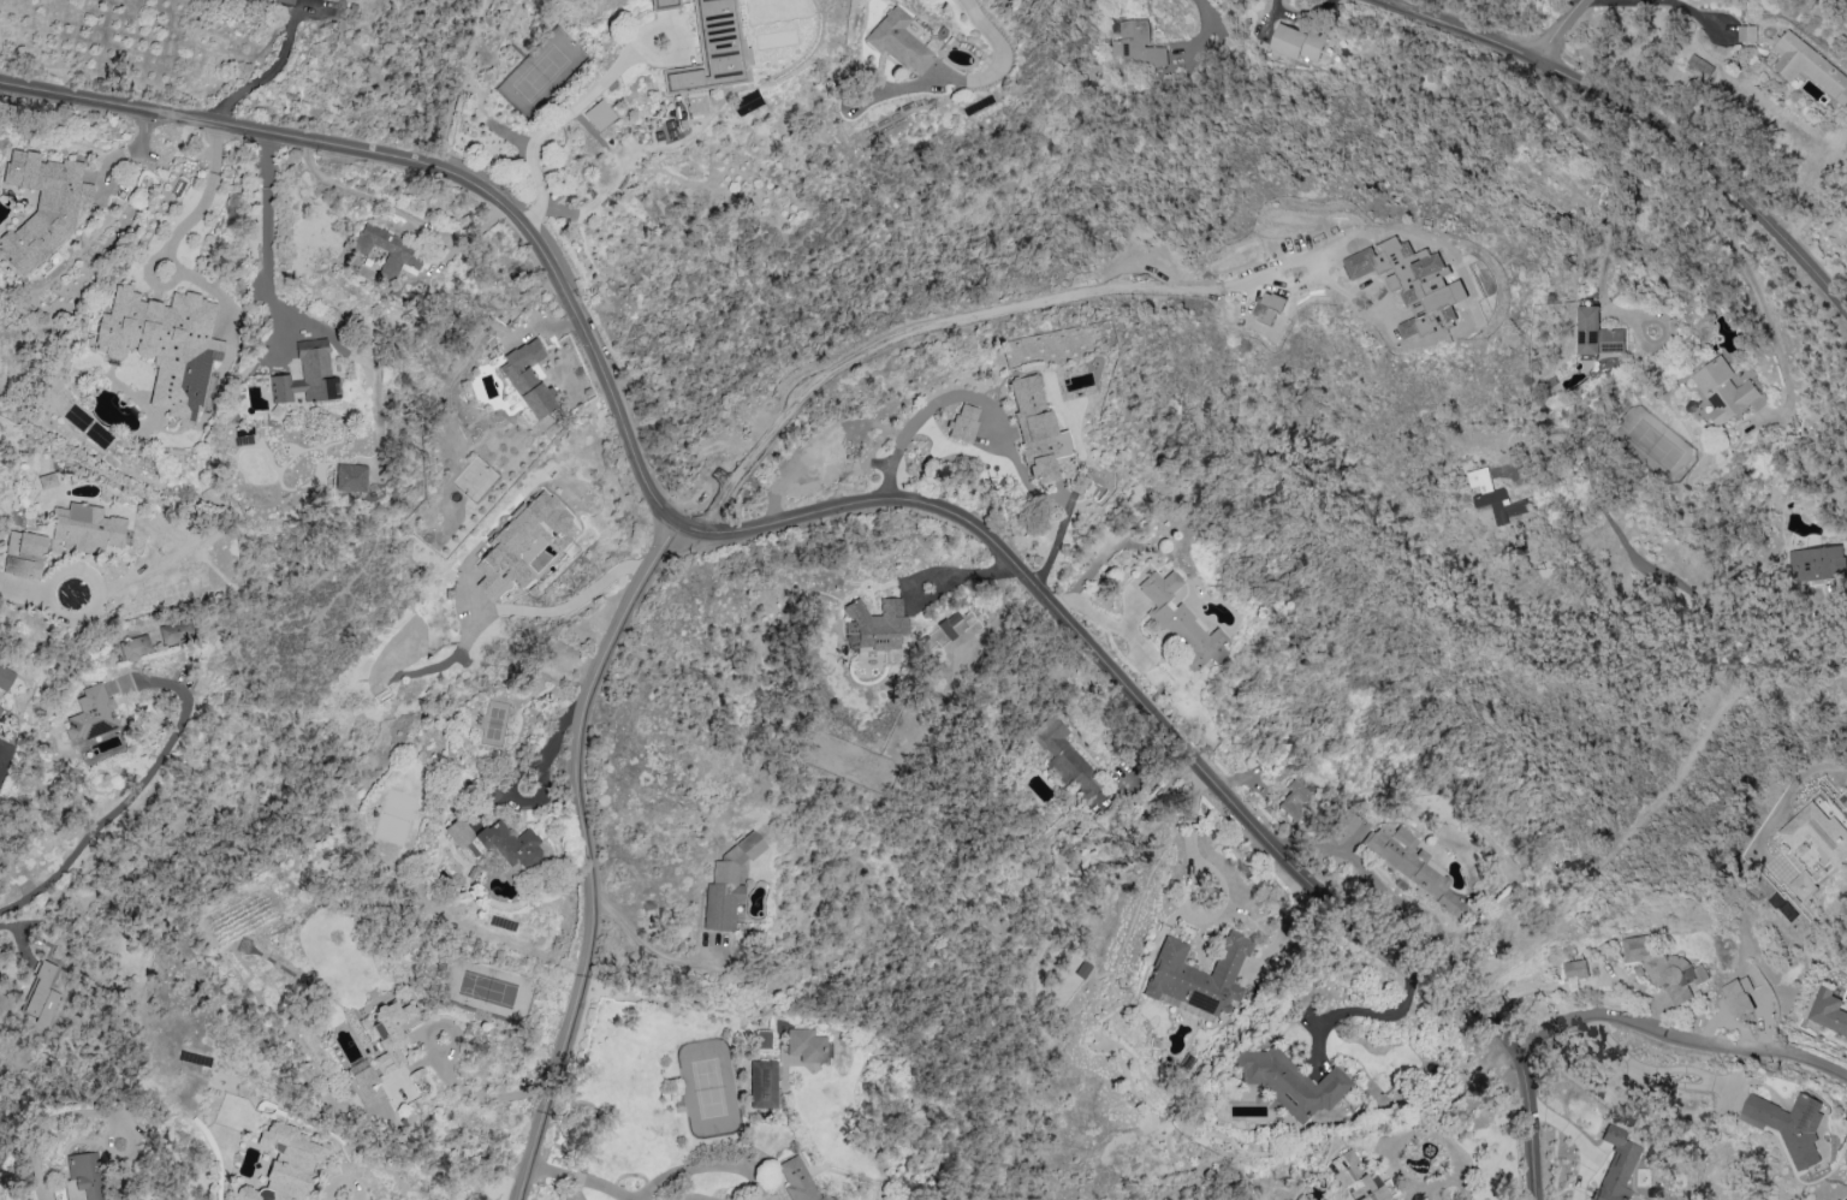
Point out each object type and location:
building: (259, 0)
building: (287, 0)
road: (1663, 1)
building: (664, 4)
road: (1204, 32)
road: (1563, 34)
building: (1747, 34)
building: (899, 41)
building: (1297, 42)
building: (1138, 52)
building: (711, 55)
building: (1699, 64)
building: (1809, 66)
road: (268, 71)
road: (979, 77)
building: (598, 114)
road: (1633, 117)
road: (553, 123)
building: (670, 129)
road: (1608, 164)
building: (42, 206)
road: (266, 239)
building: (387, 249)
building: (1412, 277)
road: (1760, 301)
road: (950, 315)
building: (1597, 333)
building: (164, 345)
building: (527, 378)
building: (305, 379)
building: (1723, 390)
road: (925, 410)
building: (964, 422)
building: (1037, 430)
building: (350, 477)
building: (47, 480)
building: (1077, 483)
building: (1495, 497)
road: (844, 506)
building: (85, 527)
building: (521, 541)
building: (25, 543)
building: (1817, 564)
building: (22, 566)
road: (22, 587)
road: (1834, 600)
building: (1180, 620)
building: (948, 624)
building: (874, 625)
building: (174, 631)
building: (135, 647)
building: (0, 707)
building: (90, 714)
building: (1064, 756)
road: (1818, 767)
road: (136, 790)
building: (1291, 802)
building: (1342, 825)
building: (1819, 831)
road: (1189, 839)
building: (495, 842)
road: (588, 853)
building: (1407, 861)
building: (727, 883)
building: (1804, 886)
road: (646, 947)
road: (1044, 956)
road: (1398, 962)
building: (1664, 967)
building: (1576, 969)
building: (1198, 974)
road: (1598, 984)
building: (40, 994)
building: (1736, 998)
building: (1828, 1011)
building: (390, 1033)
building: (762, 1039)
road: (1680, 1039)
road: (1652, 1076)
building: (364, 1080)
building: (1289, 1081)
building: (762, 1083)
road: (477, 1094)
building: (1789, 1124)
road: (47, 1153)
building: (286, 1164)
building: (1615, 1165)
building: (85, 1175)
road: (586, 1178)
building: (795, 1178)
building: (1355, 1178)
building: (572, 1194)
road: (344, 1196)
building: (1450, 1199)

